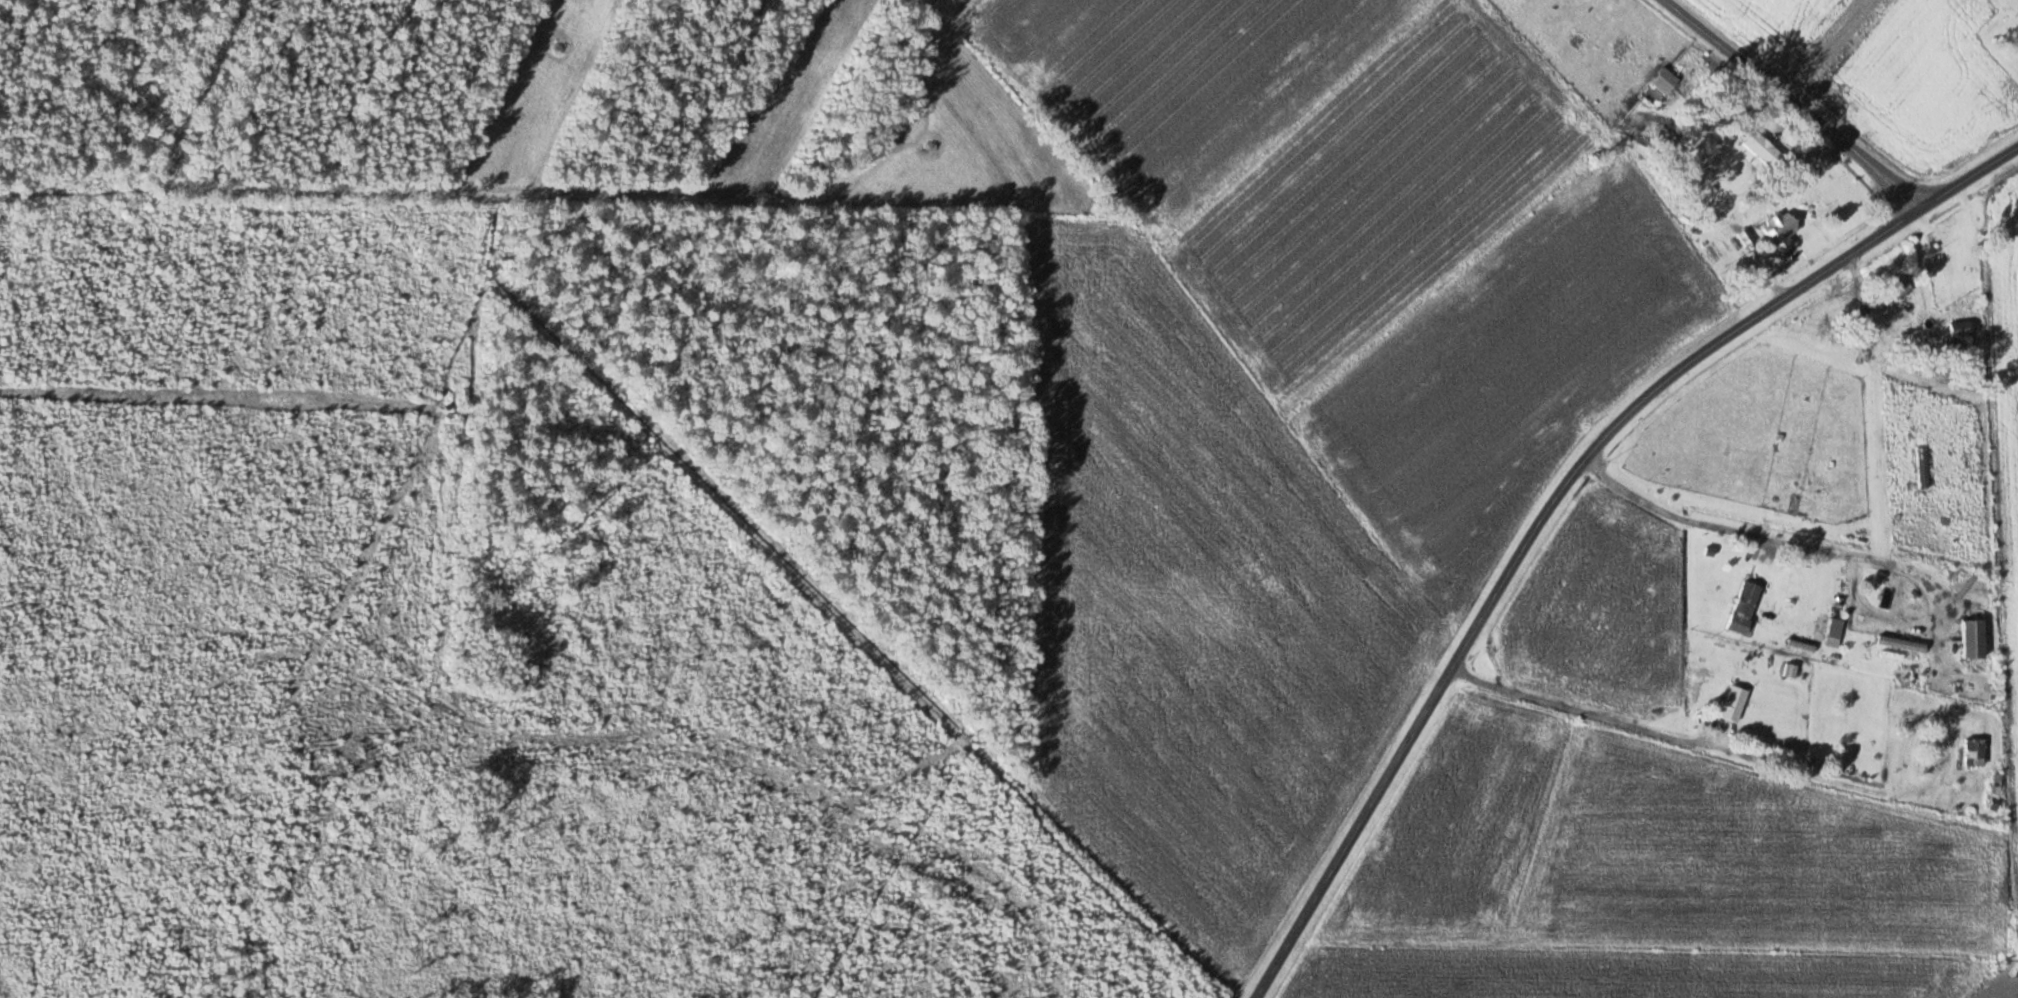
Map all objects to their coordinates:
building: (1664, 80)
road: (1797, 102)
building: (1761, 148)
road: (1971, 177)
building: (1780, 230)
building: (1894, 291)
building: (1960, 328)
building: (1921, 466)
road: (1793, 545)
road: (1532, 549)
building: (1743, 607)
building: (1972, 638)
building: (1732, 703)
road: (1693, 737)
building: (1973, 751)
road: (1990, 992)

